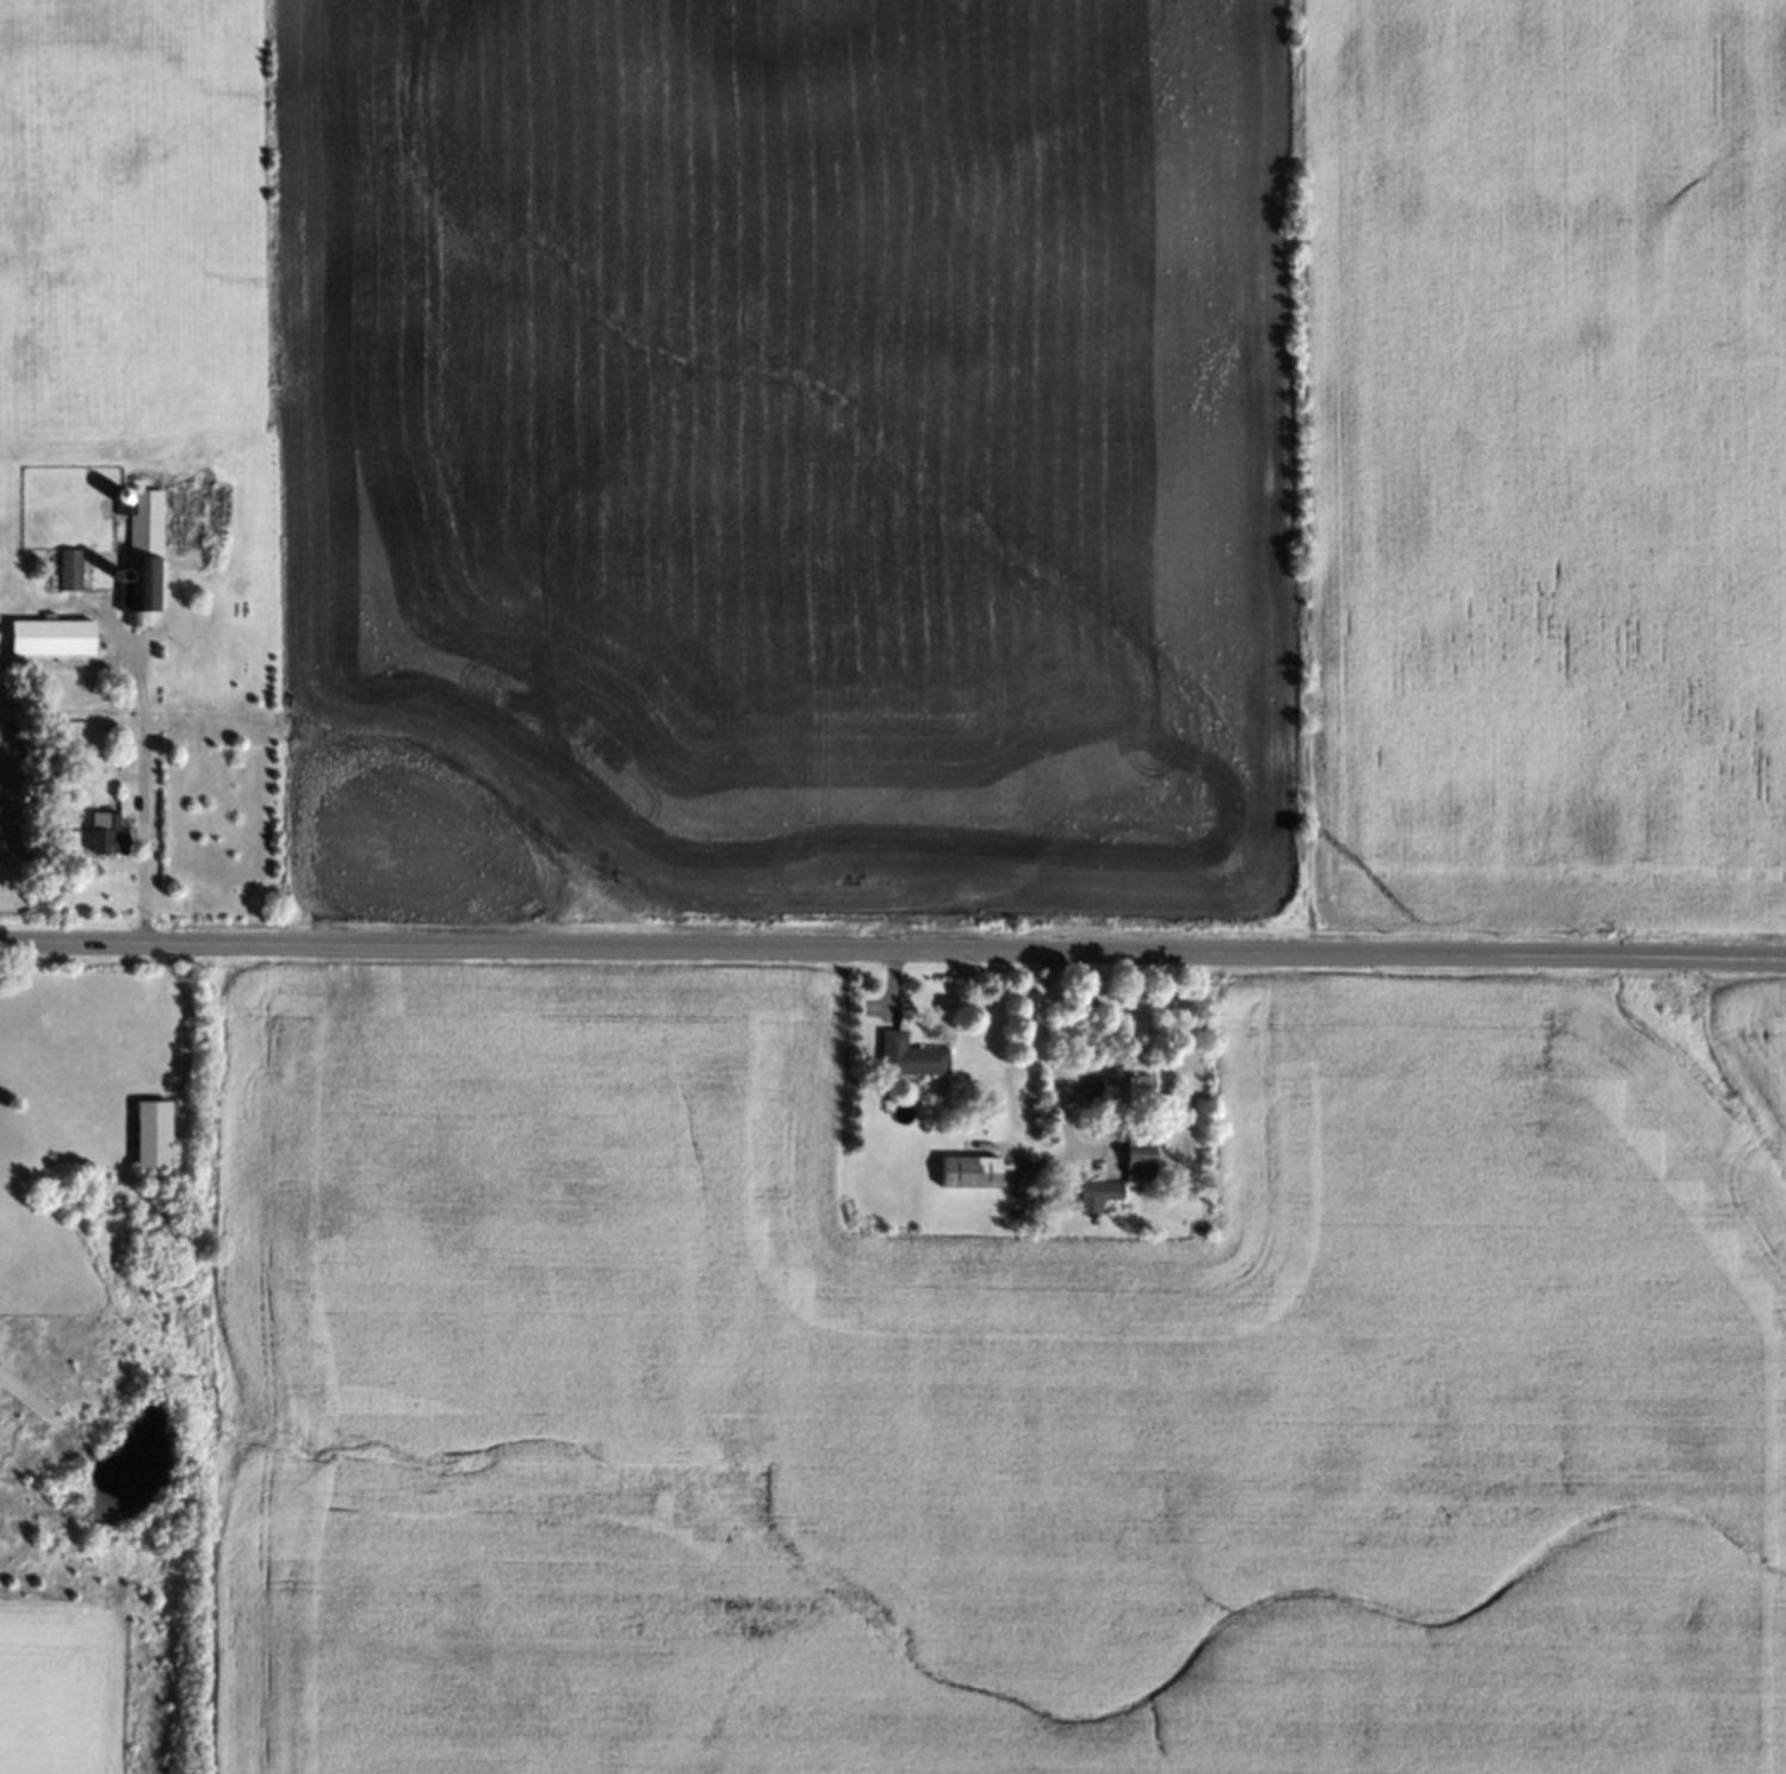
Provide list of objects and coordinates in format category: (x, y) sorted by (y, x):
crop: (703, 434)
crop: (1549, 458)
building: (114, 501)
building: (138, 556)
building: (66, 569)
building: (114, 571)
building: (46, 635)
building: (154, 649)
road: (142, 784)
building: (100, 833)
road: (893, 948)
road: (1050, 1049)
building: (905, 1050)
building: (1123, 1085)
building: (149, 1135)
building: (1133, 1152)
building: (965, 1170)
building: (1091, 1191)
crop: (996, 1402)

